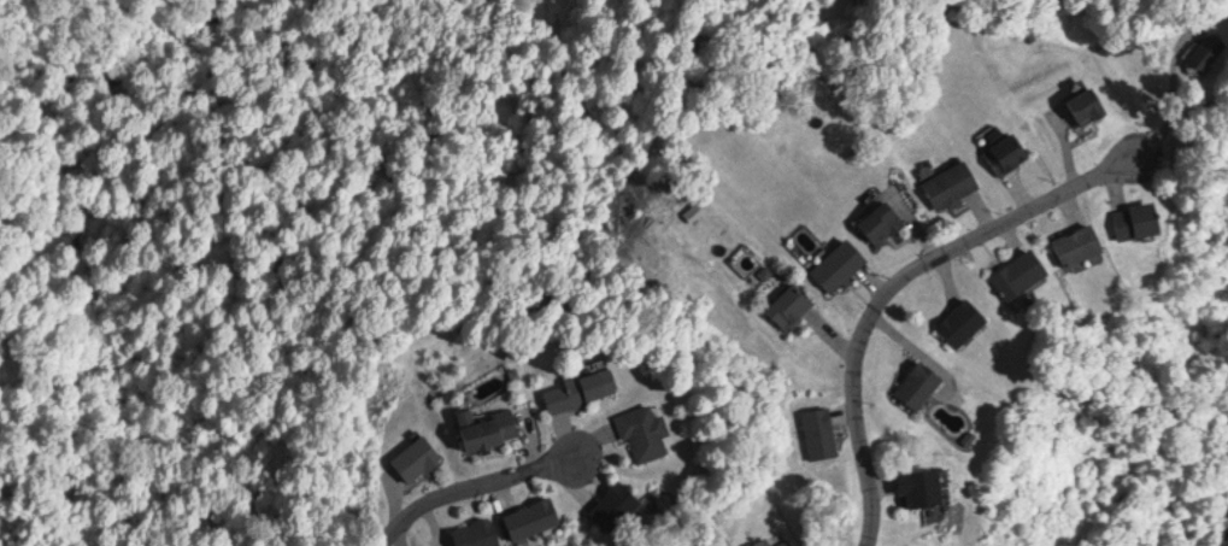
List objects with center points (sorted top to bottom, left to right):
building: (1221, 55)
building: (1093, 104)
building: (1010, 152)
building: (953, 183)
building: (1146, 221)
building: (885, 222)
building: (1086, 246)
building: (841, 265)
building: (1018, 277)
road: (895, 283)
building: (794, 306)
building: (962, 325)
building: (919, 389)
building: (584, 391)
building: (492, 429)
building: (822, 434)
building: (644, 438)
building: (417, 462)
road: (470, 486)
building: (928, 488)
building: (621, 506)
building: (530, 523)
building: (480, 533)
building: (766, 542)
building: (791, 542)

